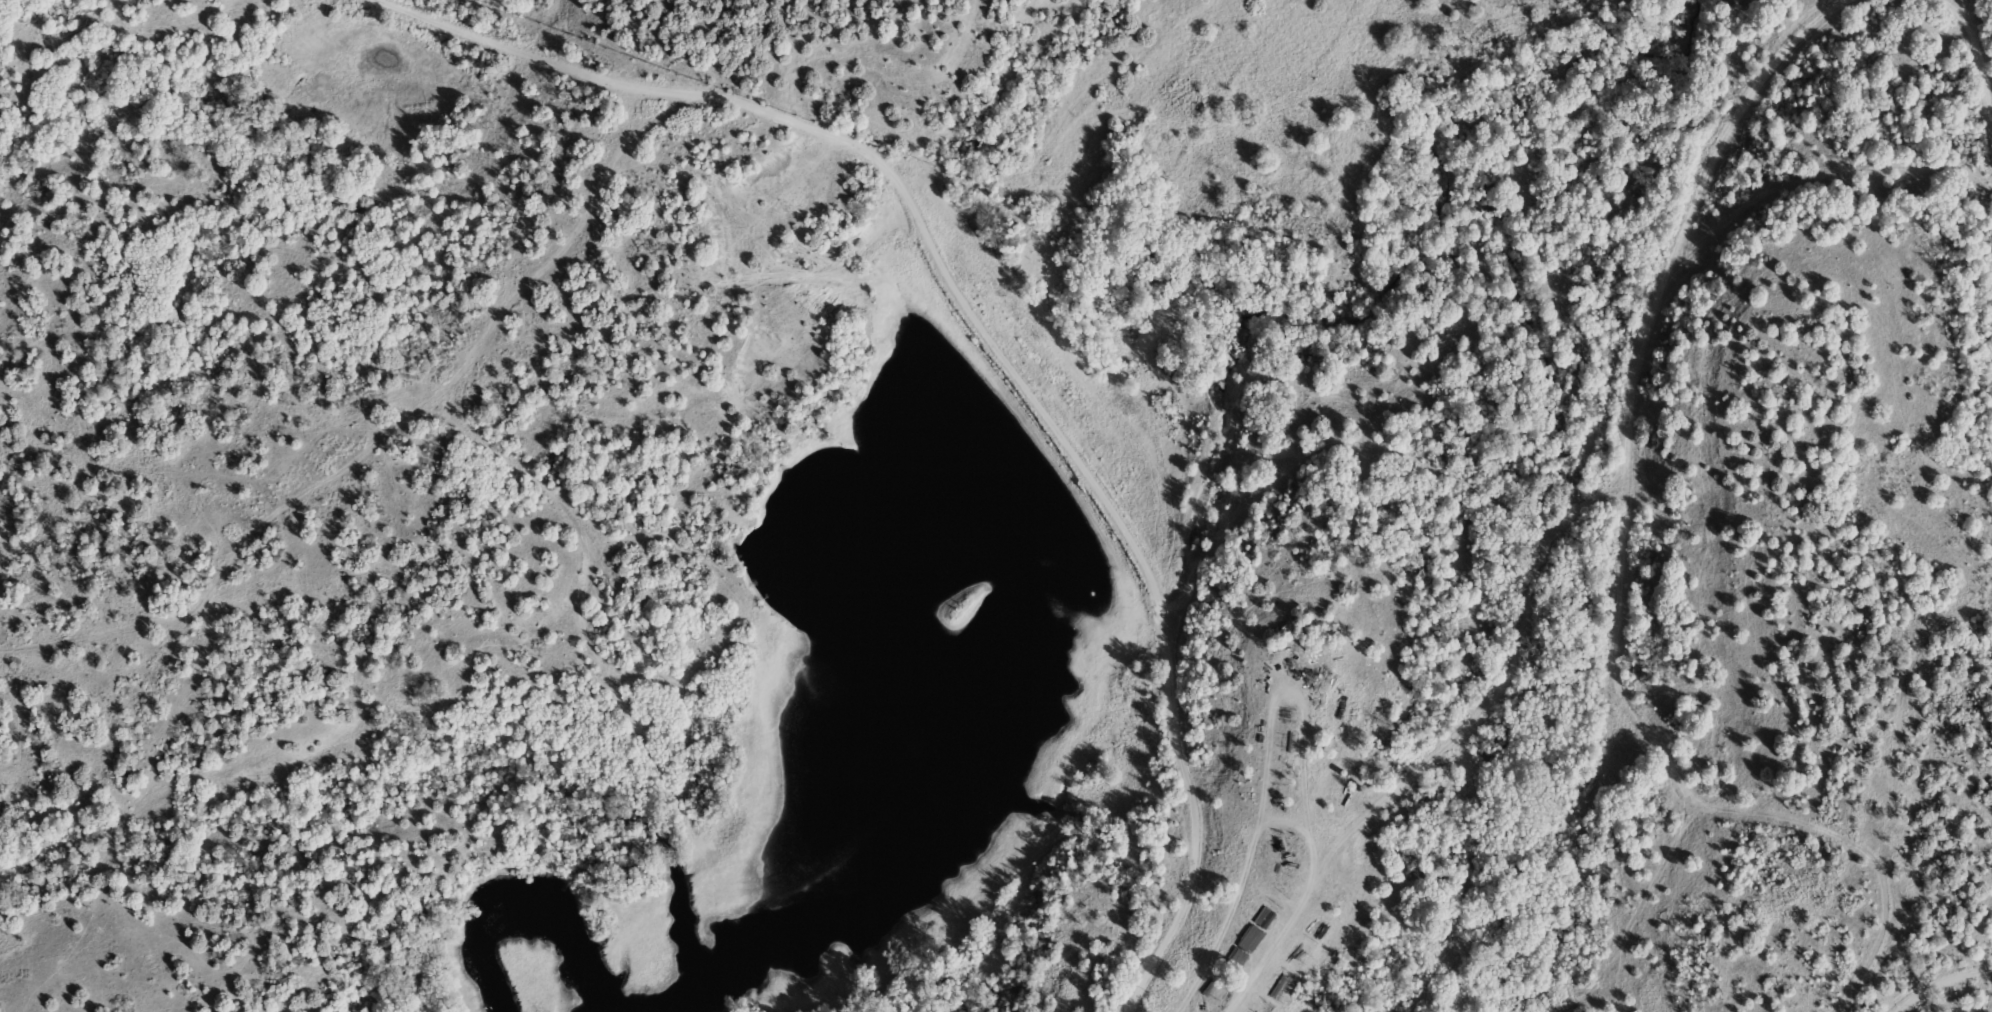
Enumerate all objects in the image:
road: (987, 333)
road: (1290, 821)
building: (1277, 899)
building: (1256, 931)
road: (1940, 982)

